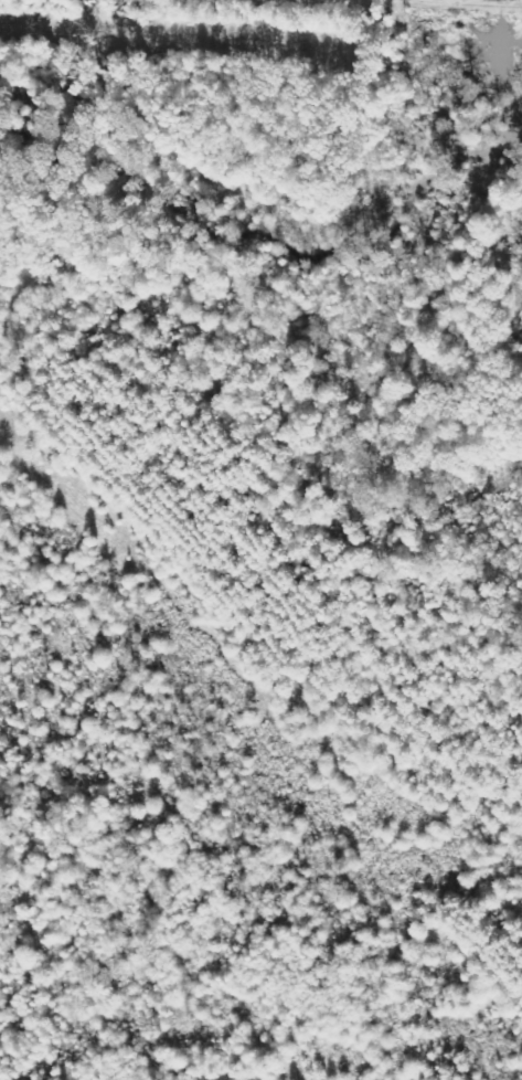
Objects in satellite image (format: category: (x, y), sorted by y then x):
road: (486, 1)

